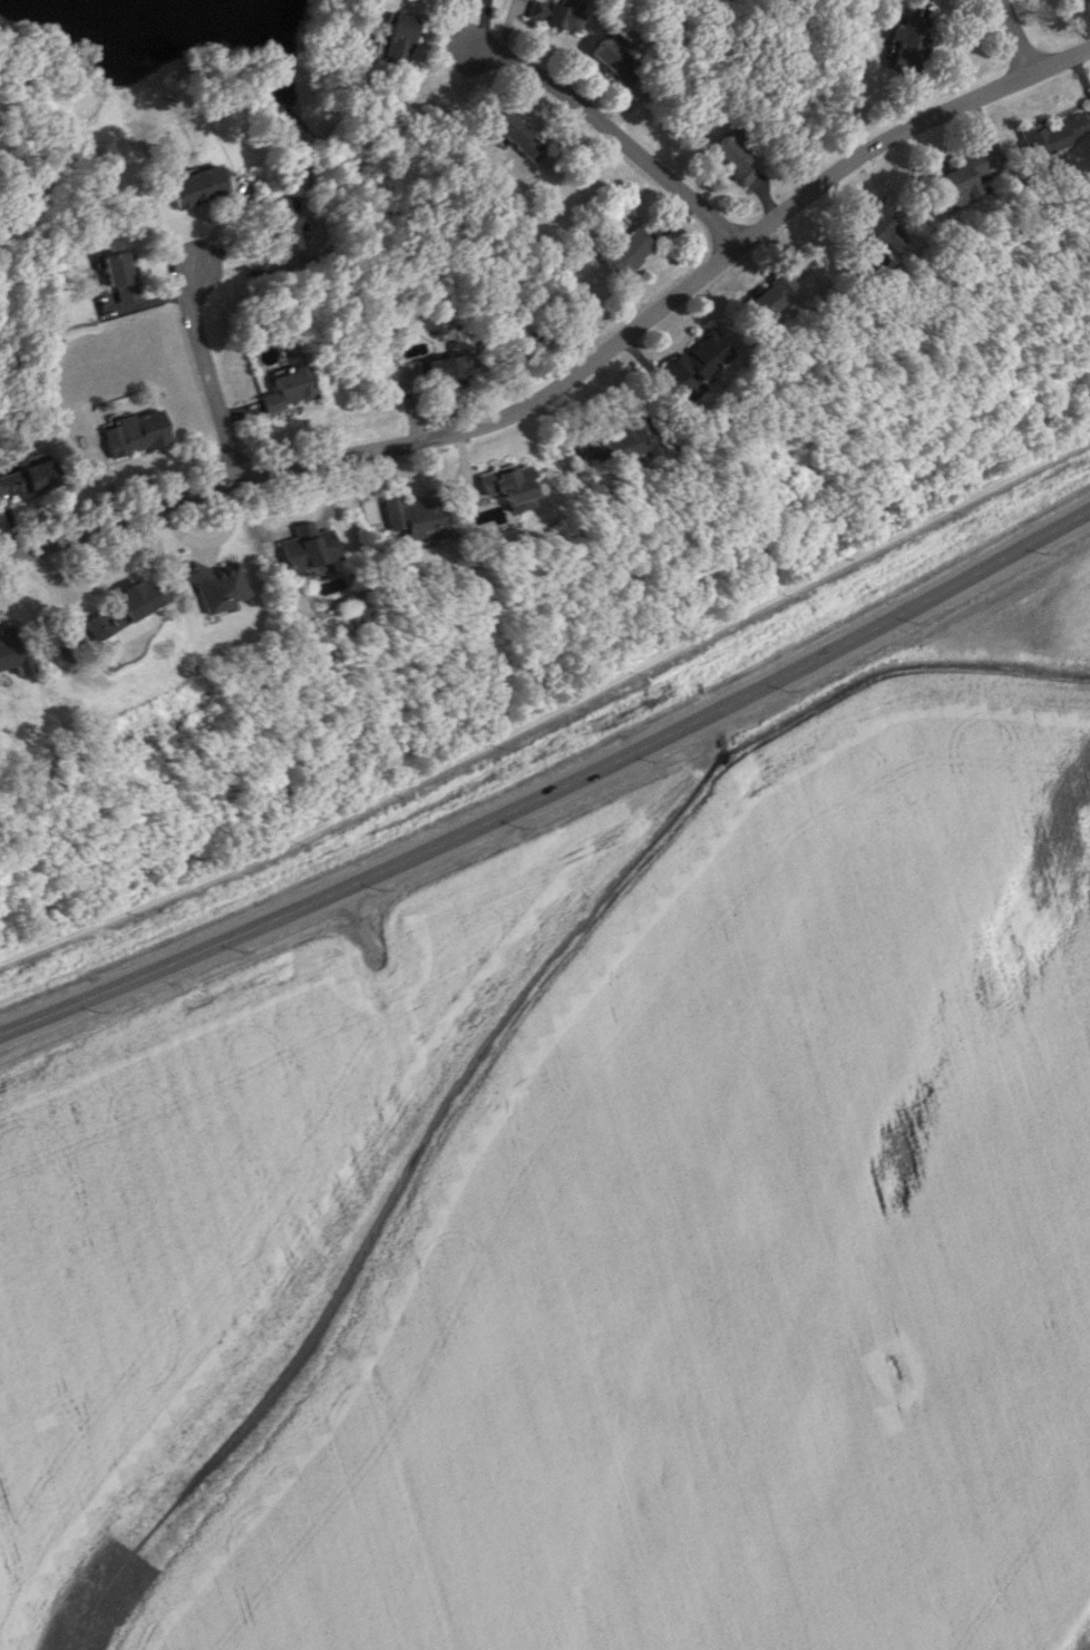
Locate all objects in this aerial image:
building: (537, 9)
building: (562, 17)
road: (1014, 37)
building: (392, 39)
building: (904, 41)
building: (614, 57)
building: (1052, 133)
building: (515, 136)
road: (613, 140)
building: (731, 158)
building: (956, 180)
building: (196, 185)
building: (284, 223)
building: (876, 230)
building: (624, 250)
building: (120, 276)
building: (766, 295)
building: (695, 360)
building: (444, 373)
road: (576, 374)
road: (210, 382)
building: (288, 389)
building: (135, 432)
building: (620, 441)
building: (26, 477)
building: (506, 485)
building: (410, 517)
road: (210, 540)
building: (304, 546)
building: (215, 583)
building: (119, 613)
building: (12, 648)
road: (551, 712)
road: (554, 789)
crop: (601, 1212)

